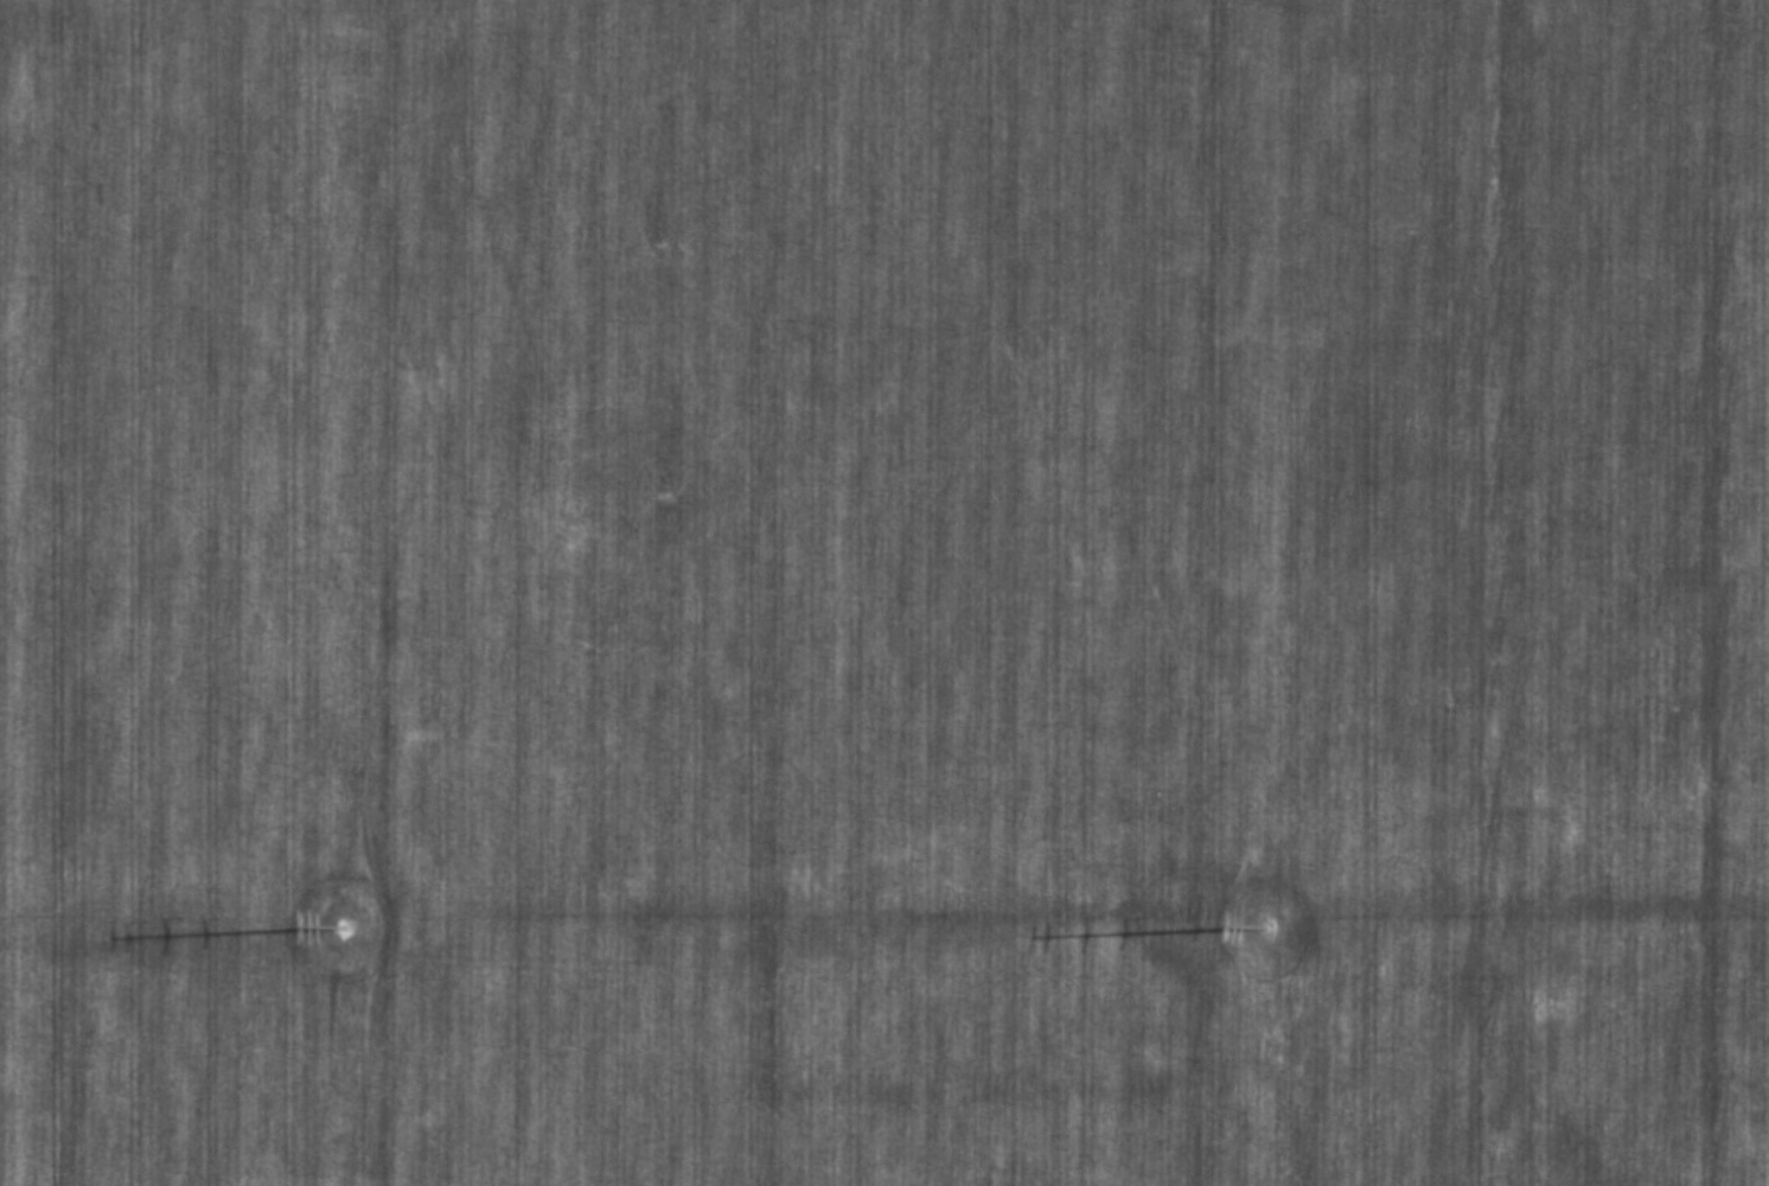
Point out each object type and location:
power tower: (344, 927)
power tower: (1265, 927)

